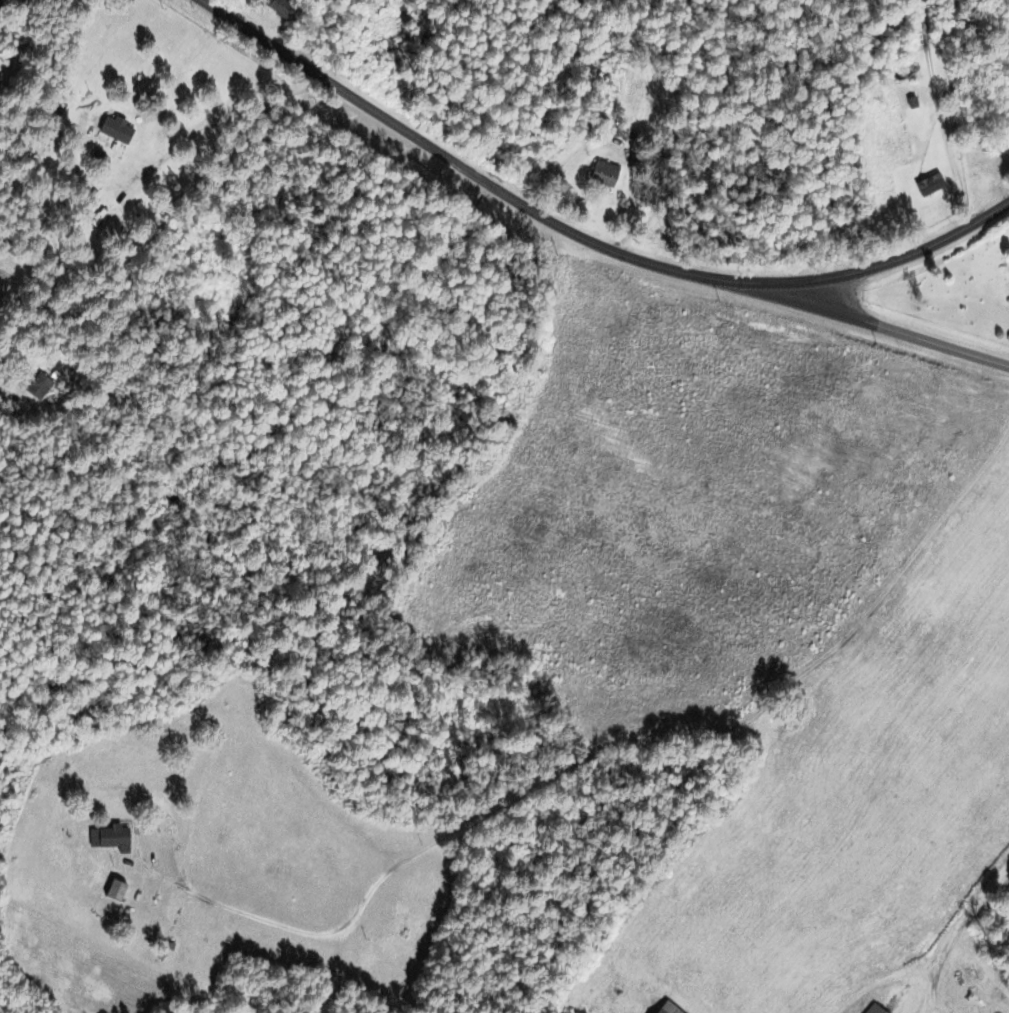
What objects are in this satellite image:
building: (280, 10)
road: (939, 113)
building: (114, 131)
building: (601, 175)
building: (928, 185)
road: (582, 238)
road: (887, 327)
building: (37, 387)
road: (638, 653)
building: (106, 836)
building: (114, 891)
building: (872, 1009)

